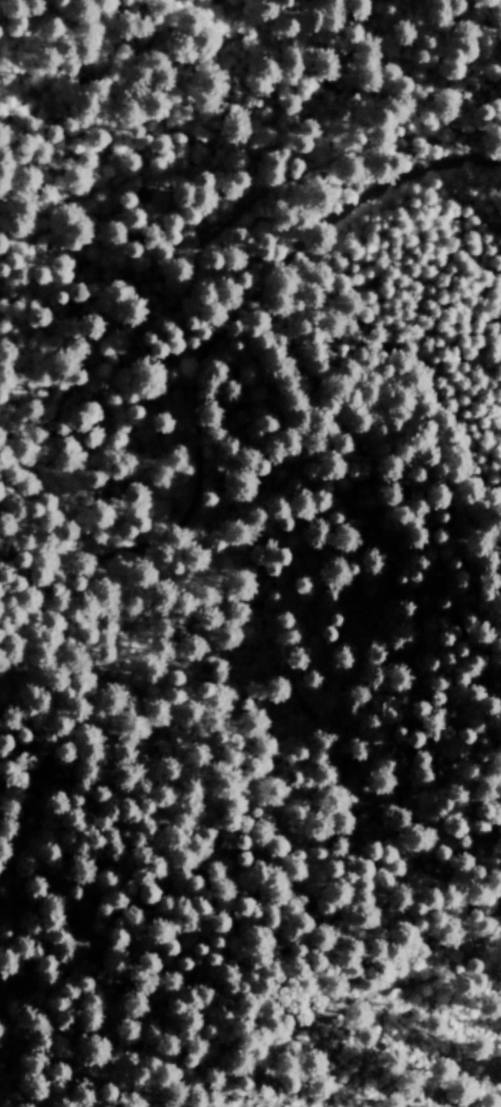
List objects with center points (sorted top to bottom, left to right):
road: (210, 346)
road: (366, 999)

